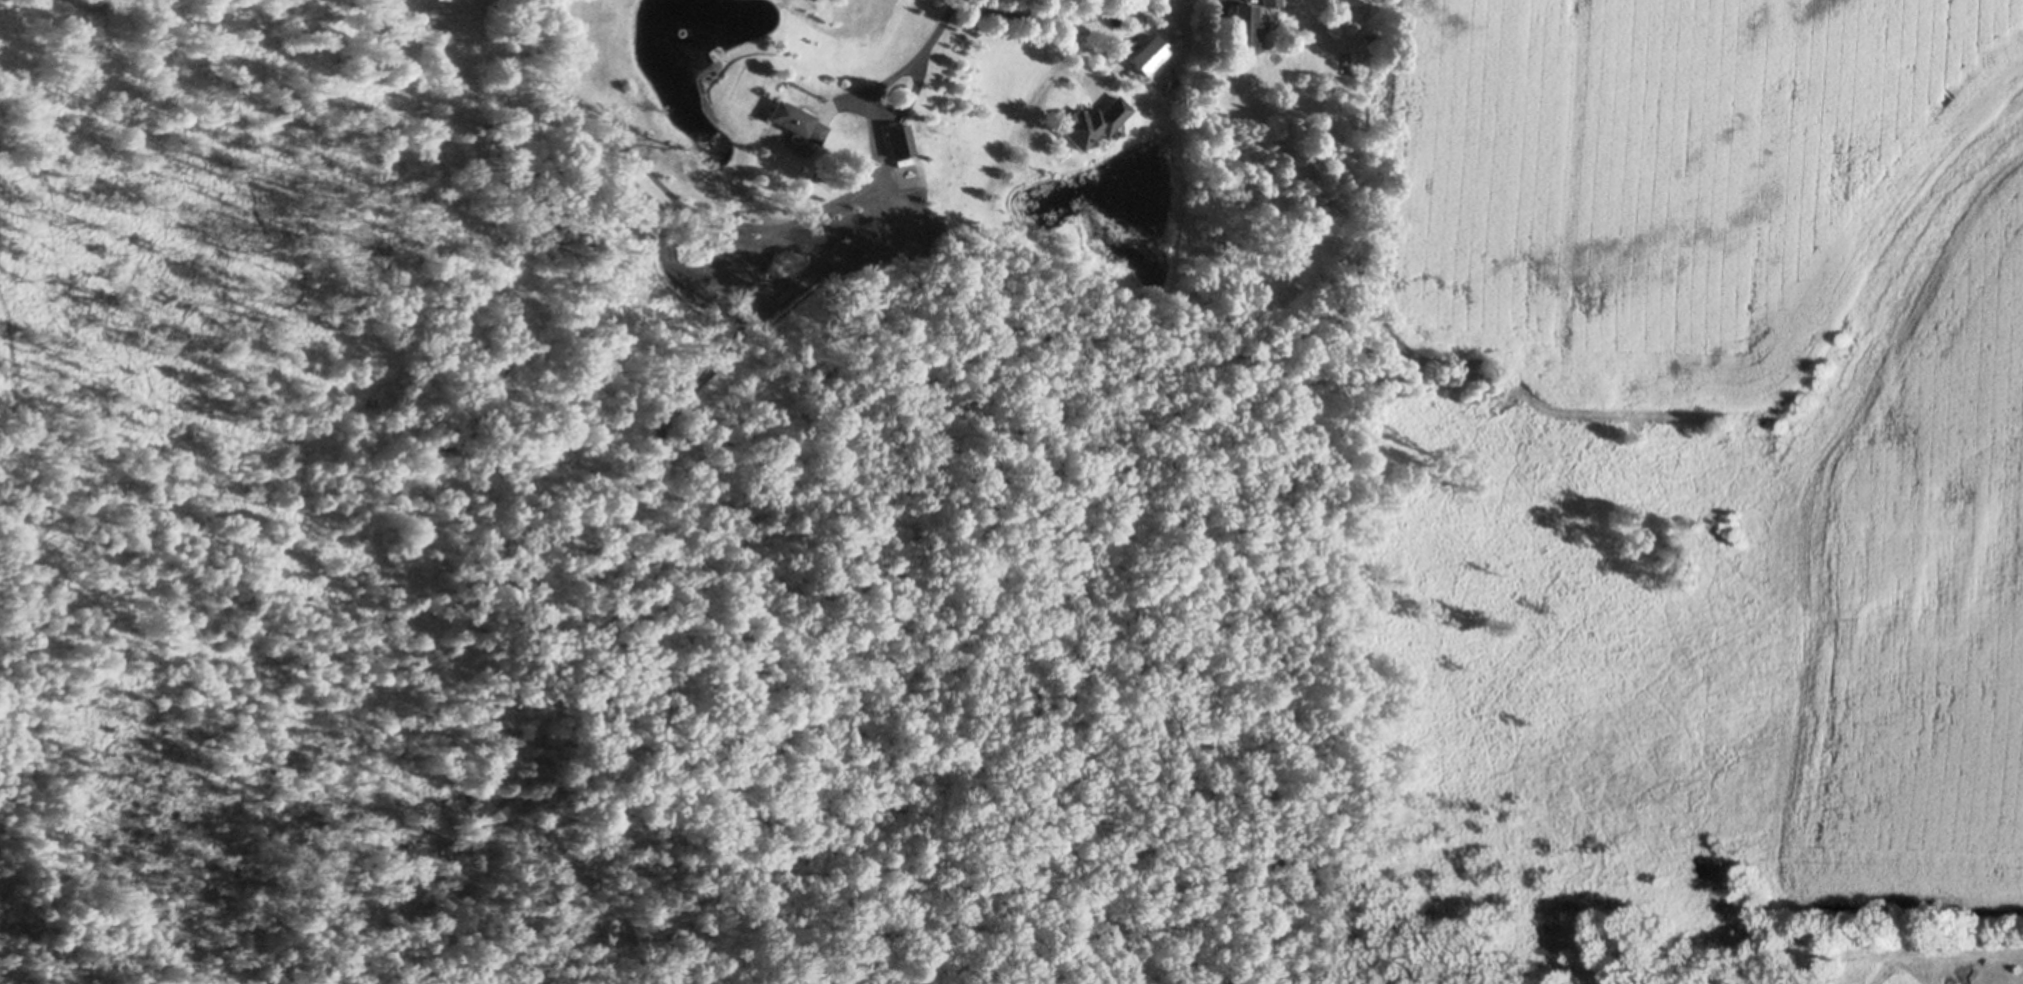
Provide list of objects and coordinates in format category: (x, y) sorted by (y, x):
building: (156, 0)
building: (1270, 4)
building: (1349, 4)
road: (1012, 15)
building: (1245, 30)
building: (1368, 39)
road: (907, 63)
building: (1174, 83)
building: (796, 125)
building: (1092, 125)
building: (899, 143)

